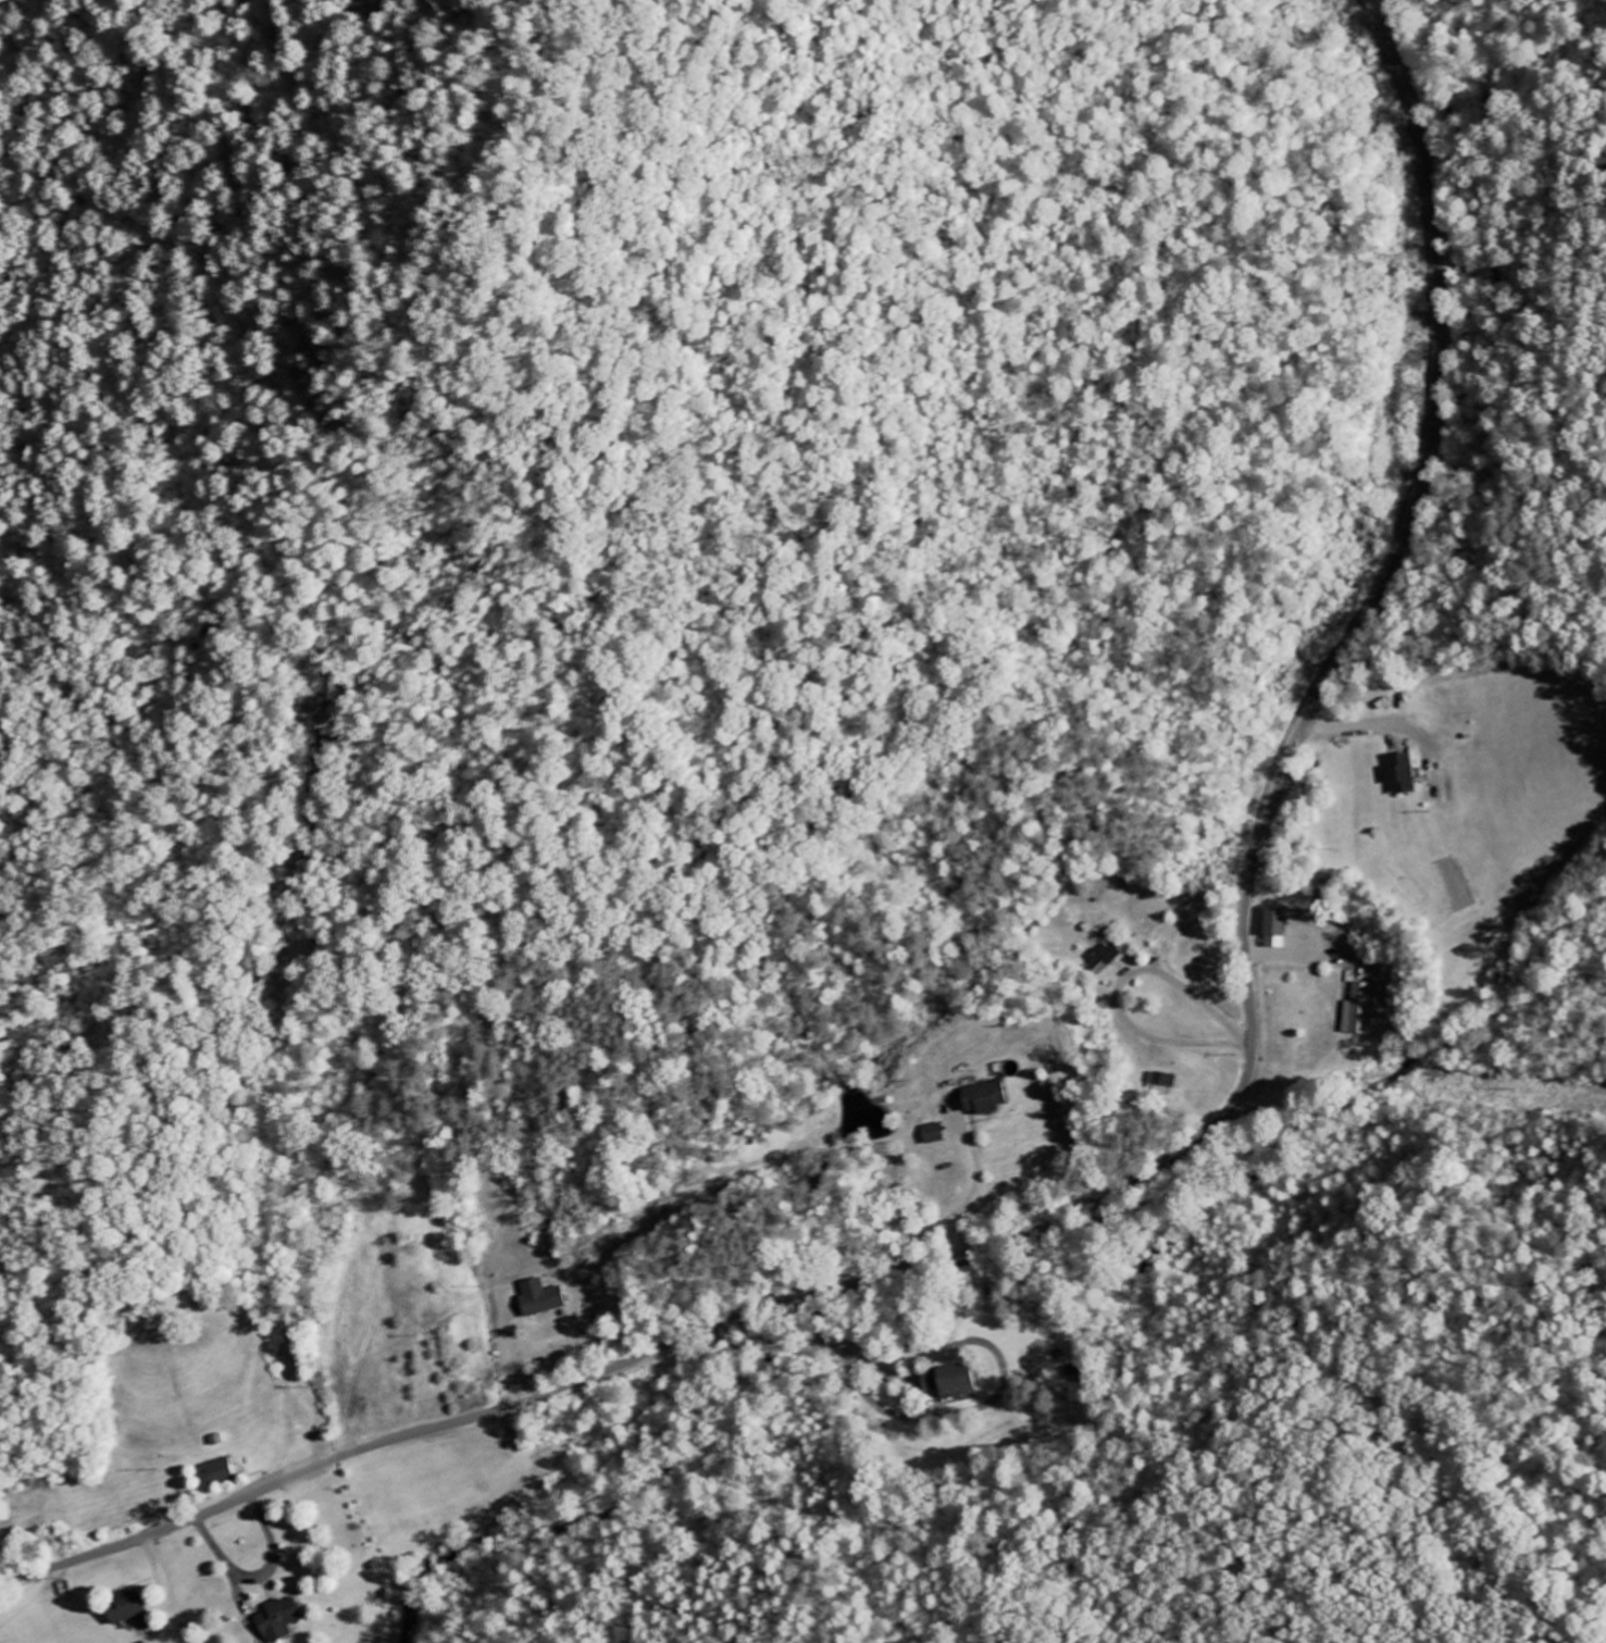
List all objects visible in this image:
road: (1482, 667)
park: (1603, 708)
road: (1329, 727)
building: (1402, 775)
building: (1274, 928)
building: (1106, 958)
building: (1359, 1010)
building: (983, 1098)
building: (933, 1134)
road: (1169, 1162)
building: (539, 1299)
building: (948, 1380)
building: (219, 1472)
building: (123, 1608)
building: (278, 1620)

